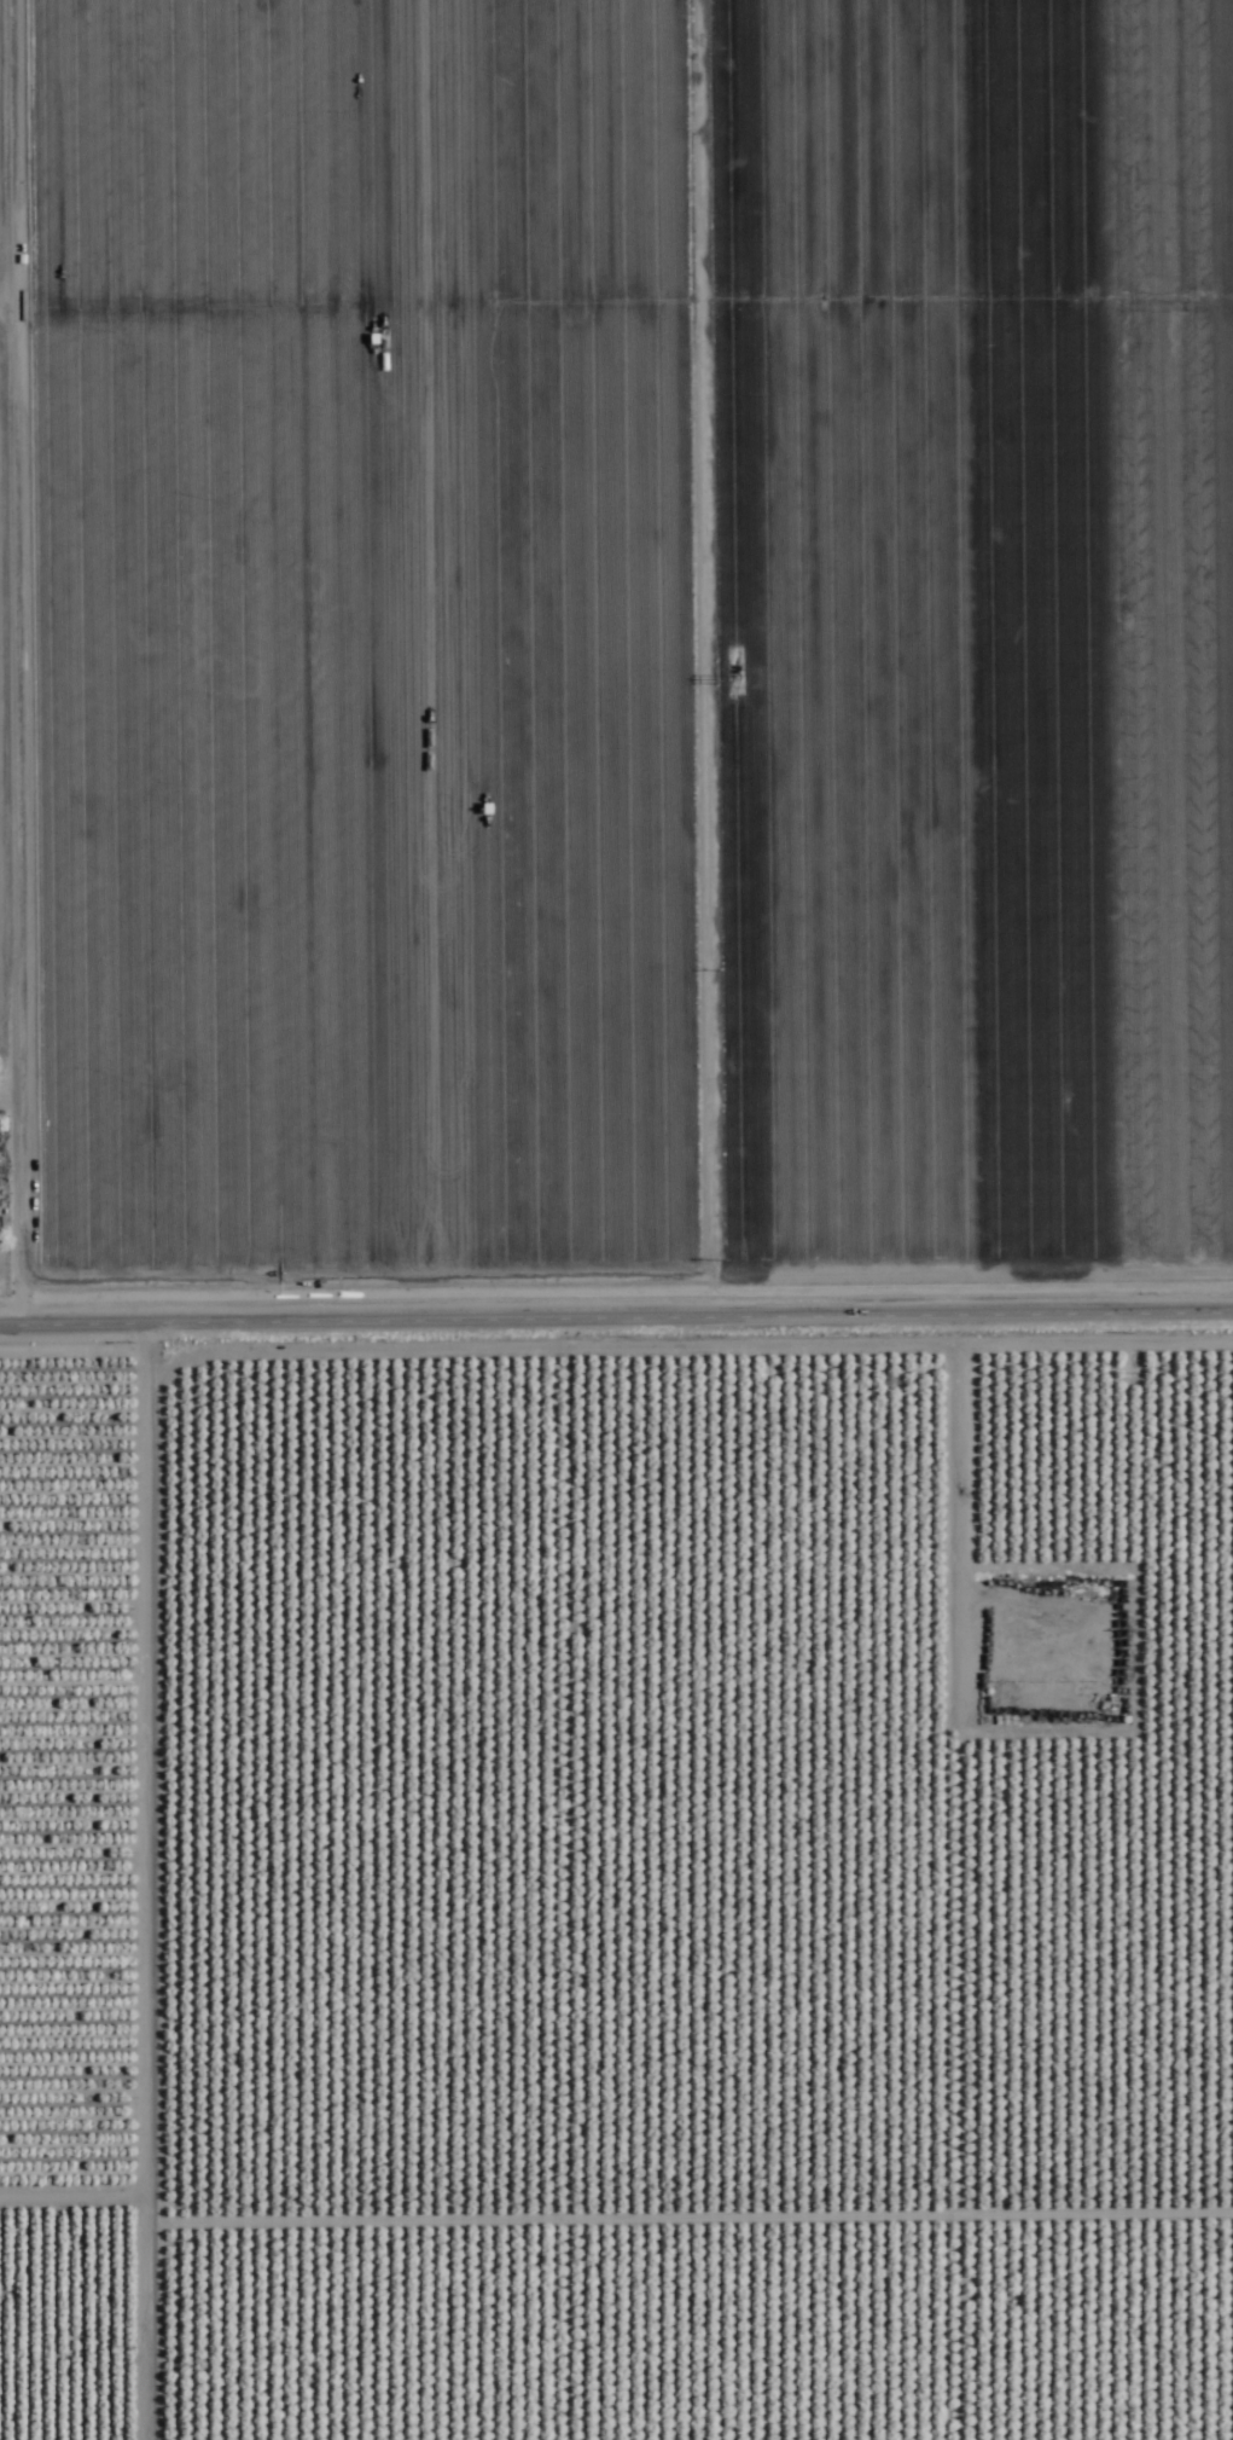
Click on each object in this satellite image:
road: (1, 1210)
crop: (616, 1219)
road: (616, 1320)
road: (1099, 1878)
road: (120, 1883)

